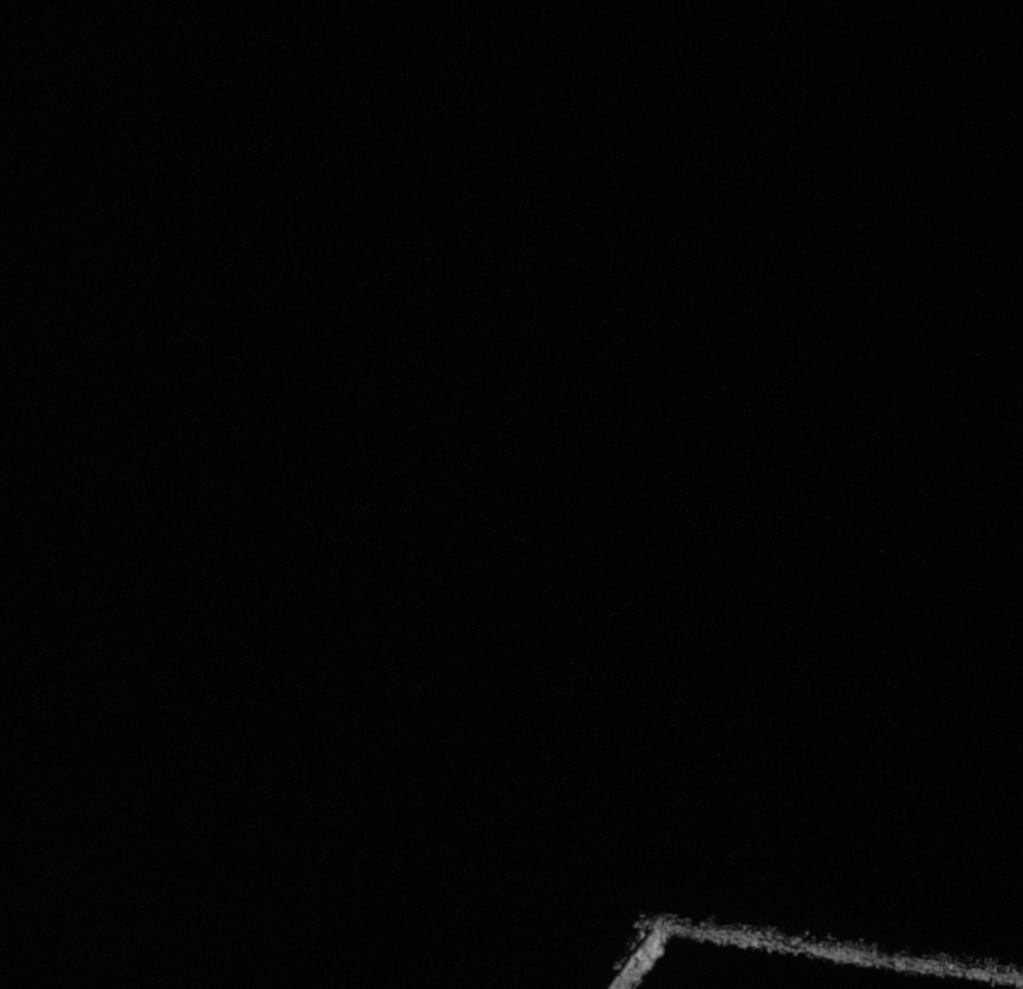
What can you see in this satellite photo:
pier: (620, 985)

